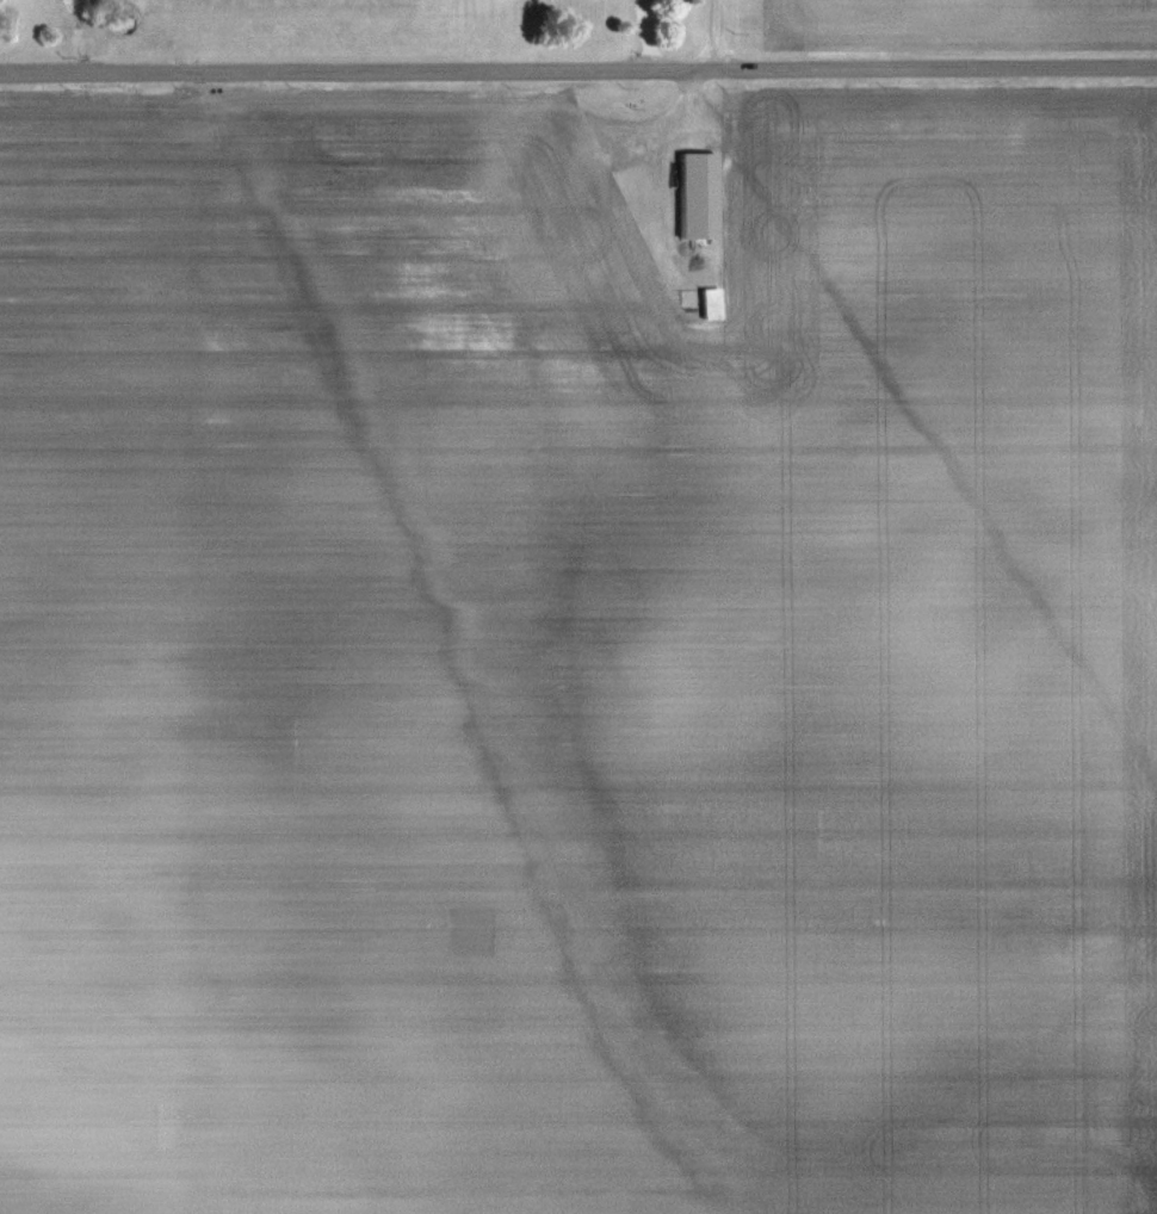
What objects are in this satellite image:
road: (648, 31)
road: (717, 31)
road: (578, 63)
building: (546, 190)
building: (694, 194)
building: (710, 302)

